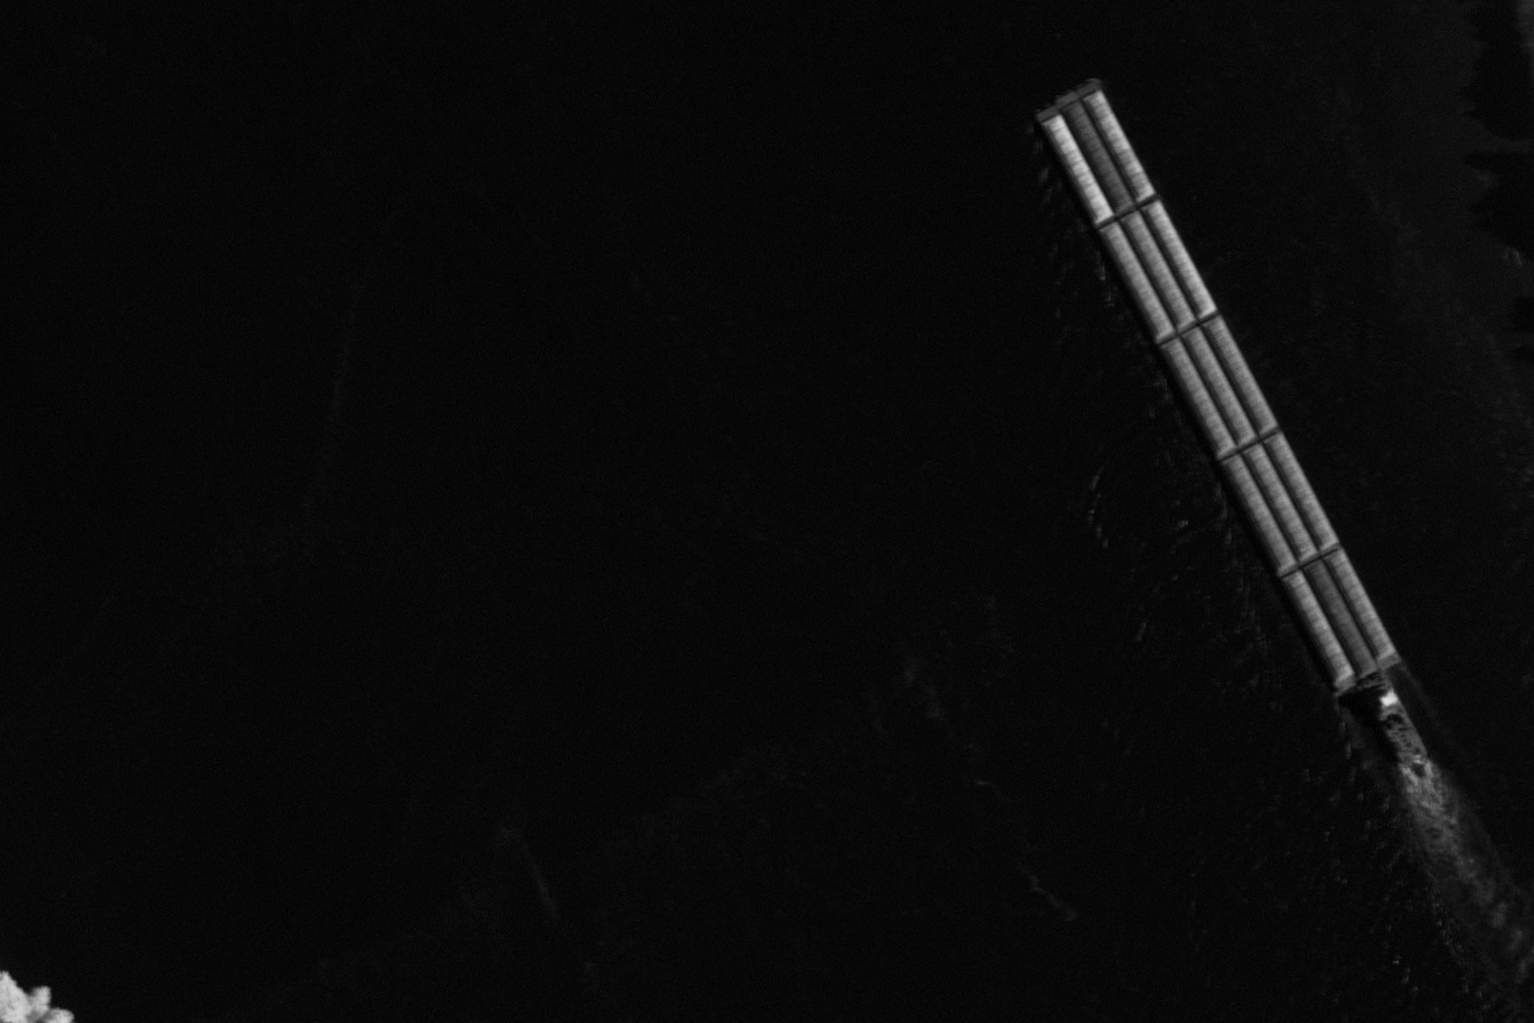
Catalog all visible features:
river: (725, 517)

